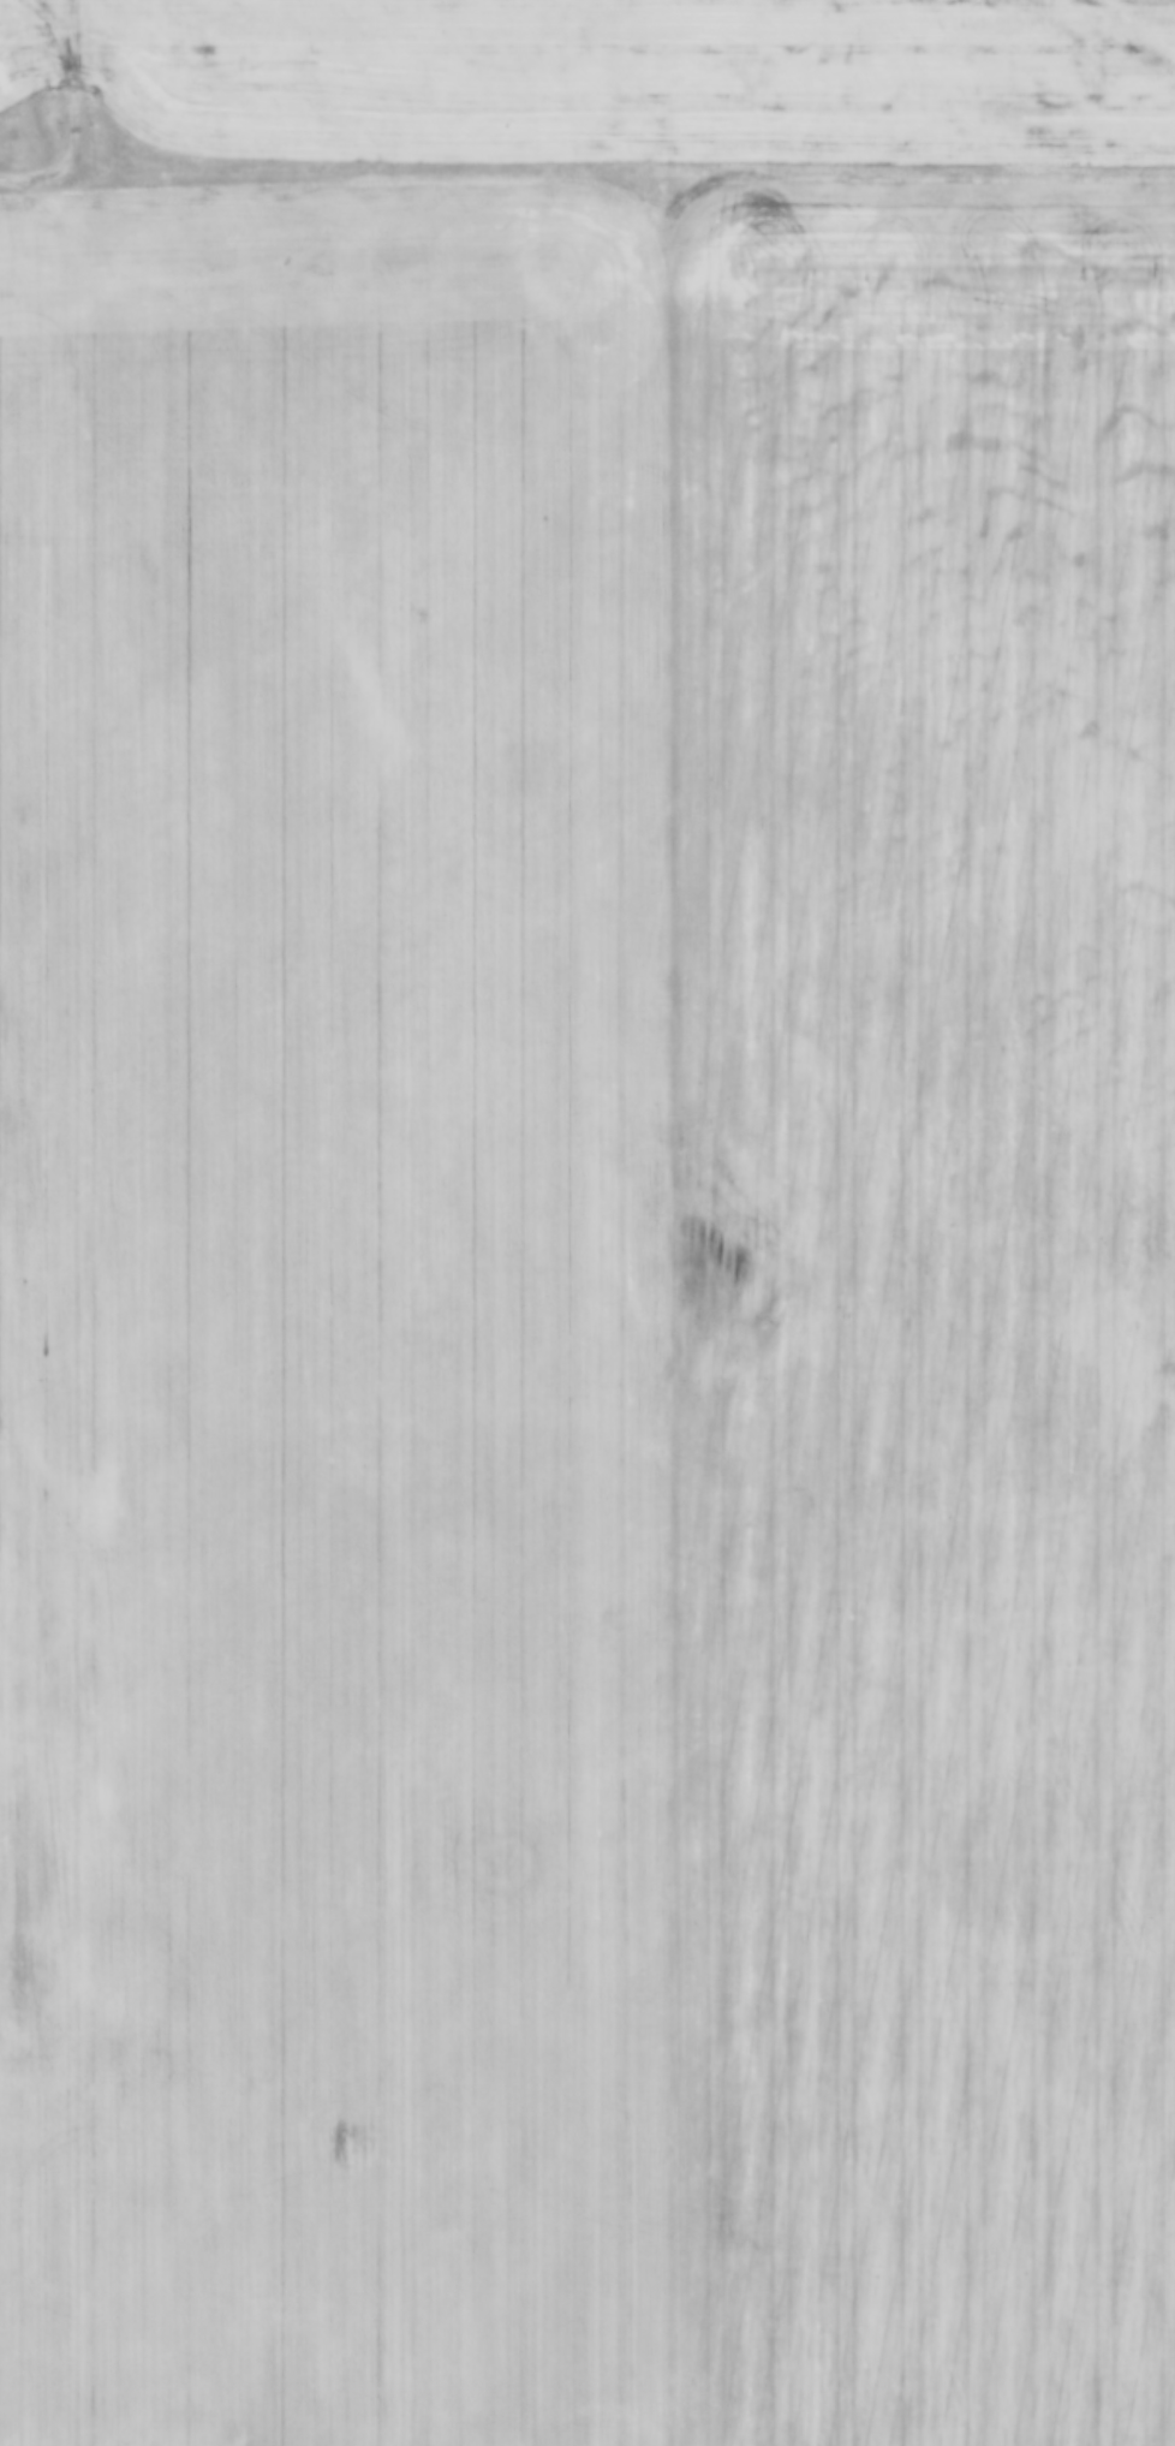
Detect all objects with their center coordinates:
road: (0, 165)
road: (909, 166)

